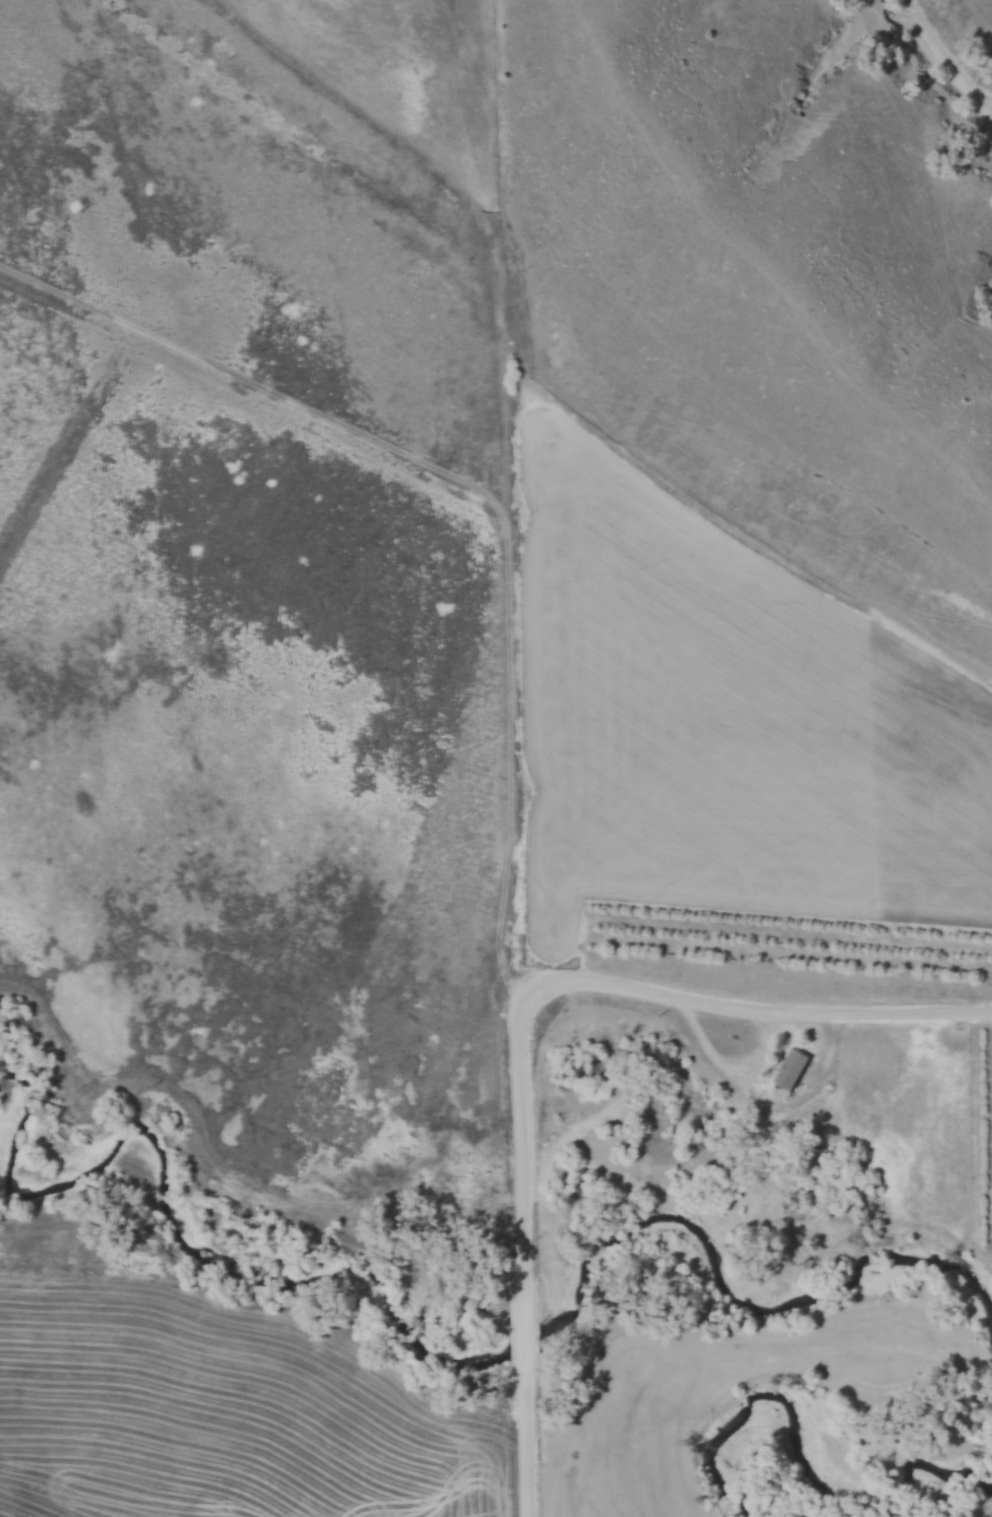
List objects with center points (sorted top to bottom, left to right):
road: (728, 1011)
building: (792, 1071)
road: (525, 1189)
road: (525, 1339)
road: (526, 1436)

